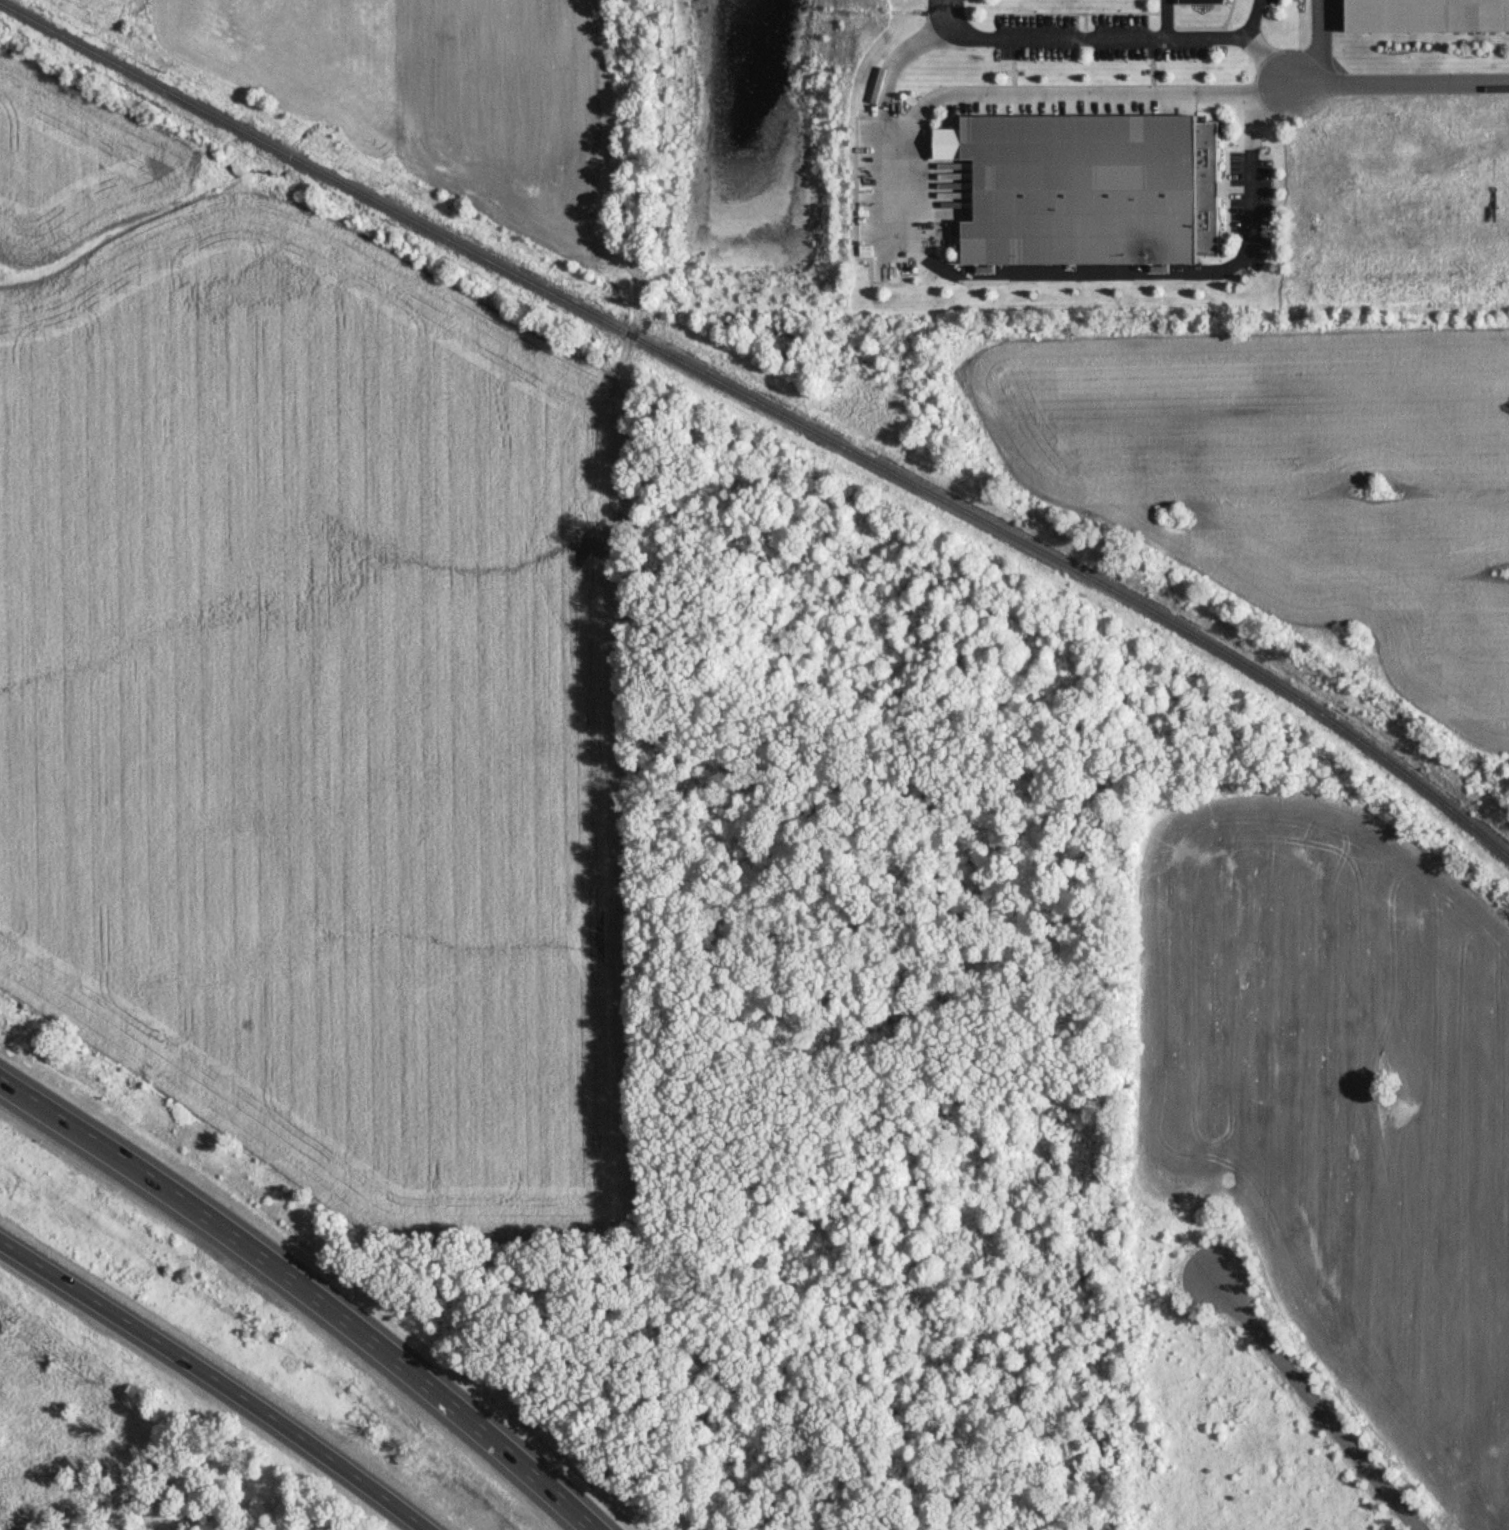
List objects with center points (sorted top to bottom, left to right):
building: (1205, 1)
building: (1425, 16)
road: (953, 19)
road: (1253, 19)
road: (1149, 37)
road: (1322, 43)
road: (900, 56)
road: (1399, 84)
building: (1091, 188)
road: (914, 239)
railway: (768, 404)
road: (268, 1251)
road: (215, 1378)
road: (1316, 1402)
road: (561, 1491)

